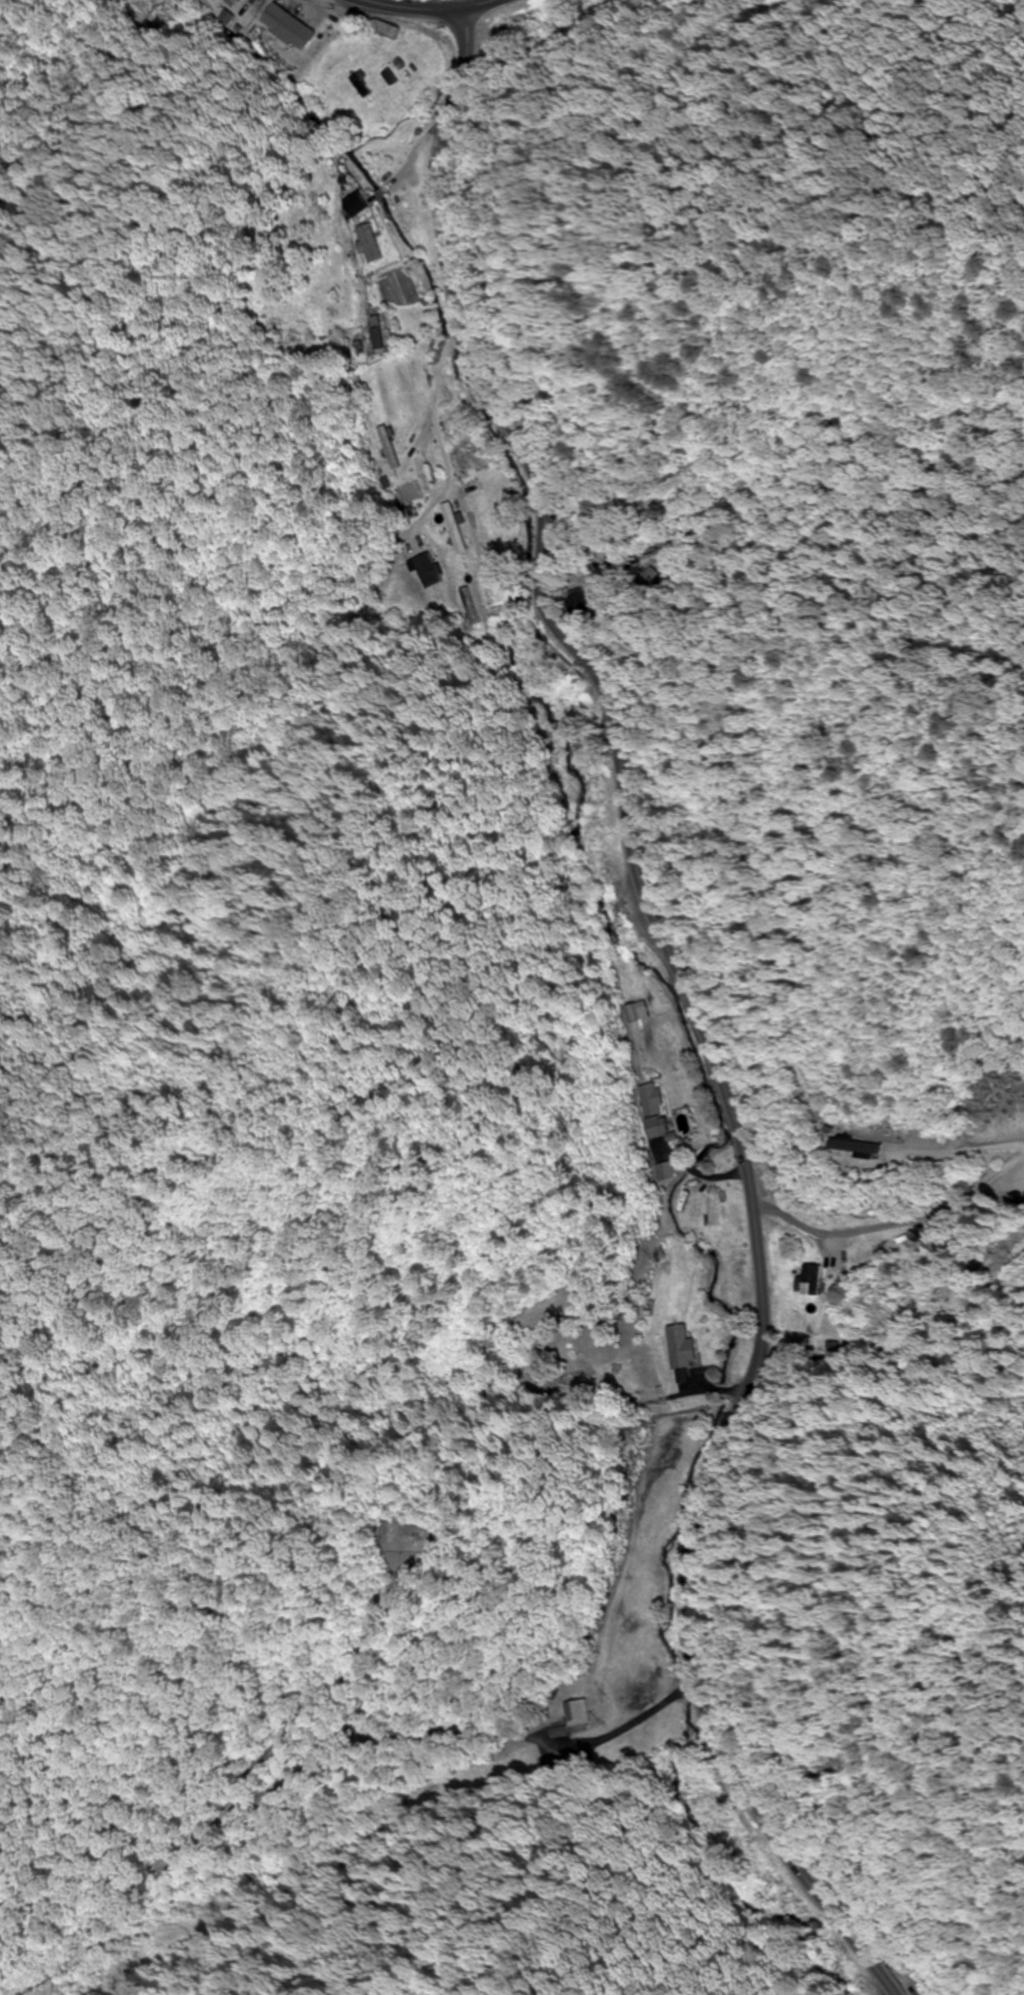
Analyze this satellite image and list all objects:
building: (233, 3)
road: (430, 7)
building: (388, 29)
building: (299, 32)
building: (359, 203)
building: (371, 243)
building: (377, 332)
building: (386, 448)
building: (454, 528)
building: (659, 555)
building: (427, 571)
building: (466, 607)
road: (693, 1009)
building: (638, 1011)
building: (652, 1113)
building: (866, 1146)
building: (812, 1281)
building: (682, 1349)
building: (578, 1713)

